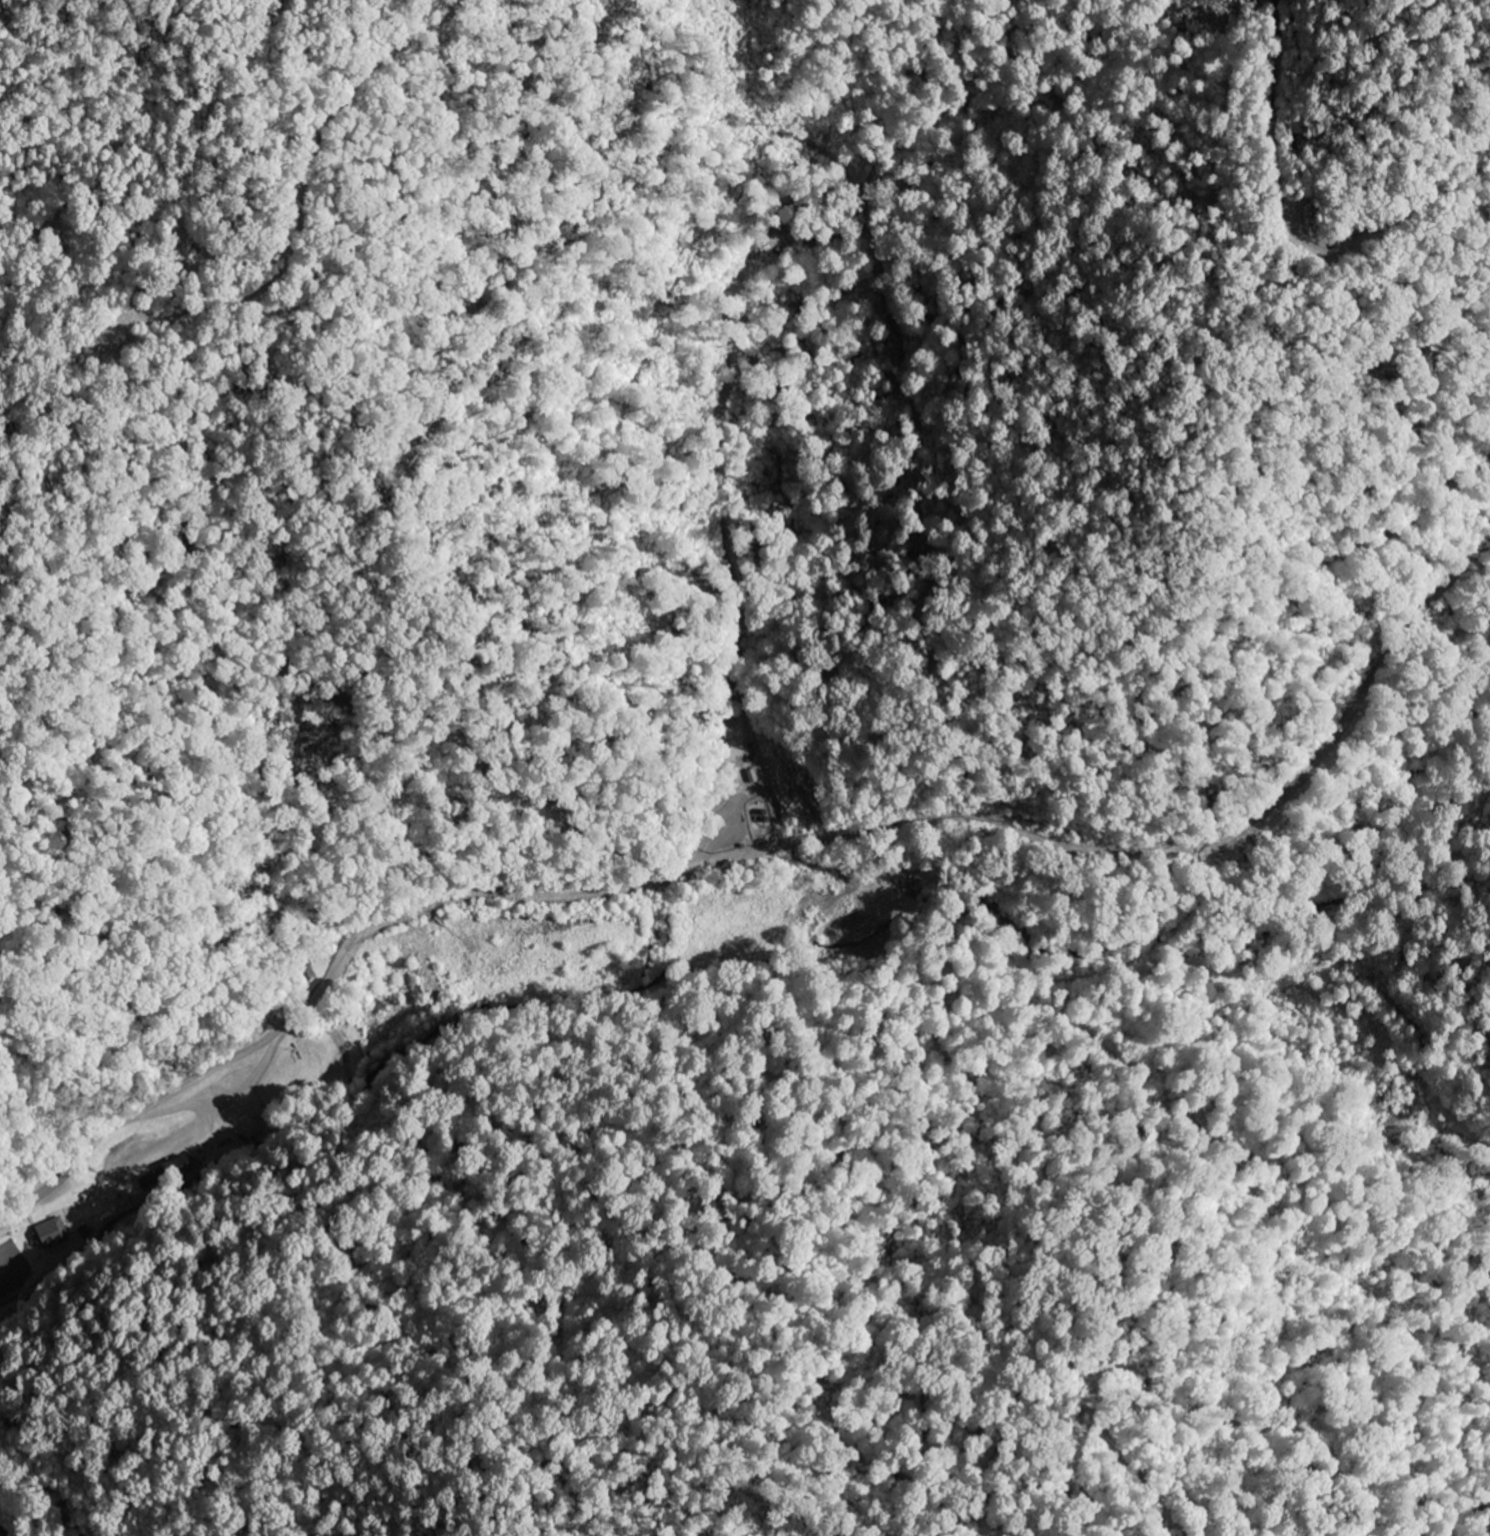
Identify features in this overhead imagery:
road: (134, 1115)
building: (51, 1234)

